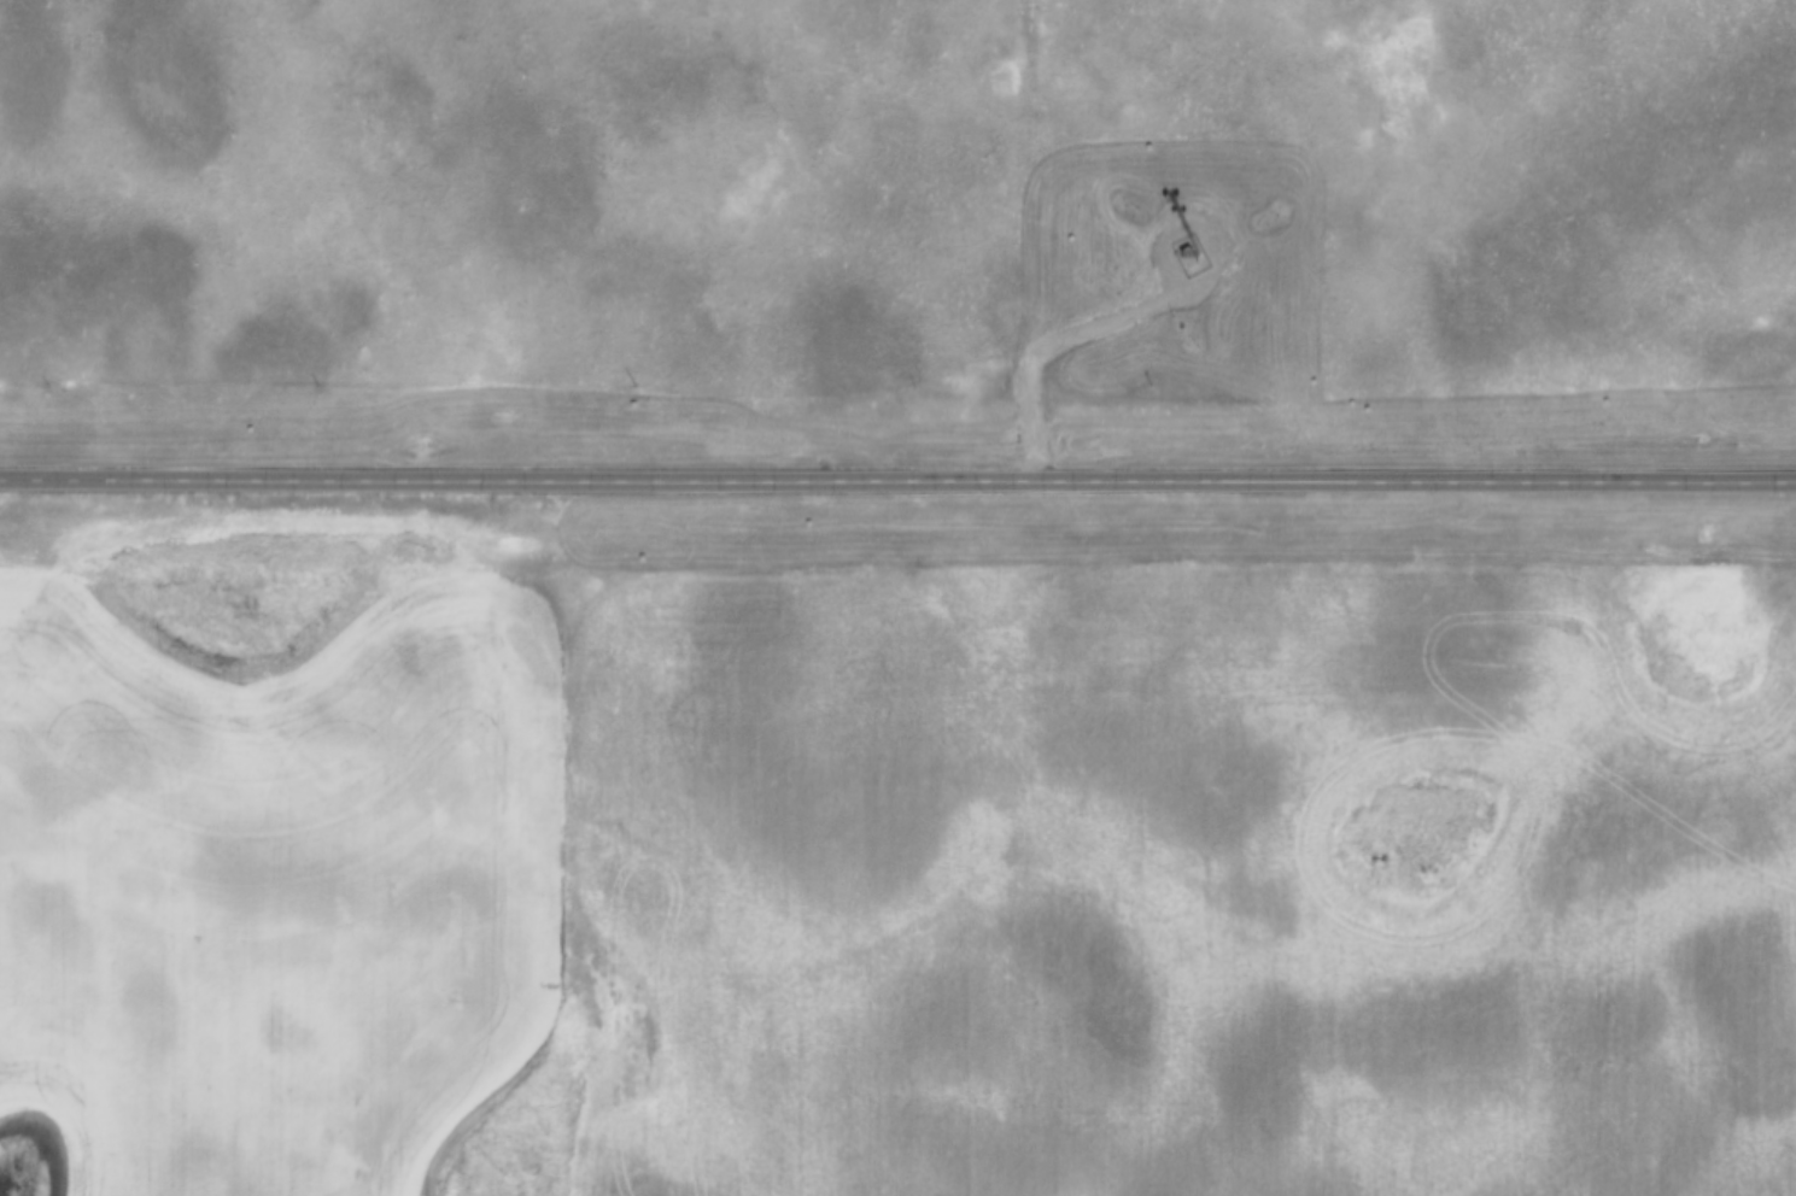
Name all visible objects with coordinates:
building: (1192, 244)
building: (1188, 260)
road: (1060, 339)
road: (730, 477)
road: (1627, 480)

